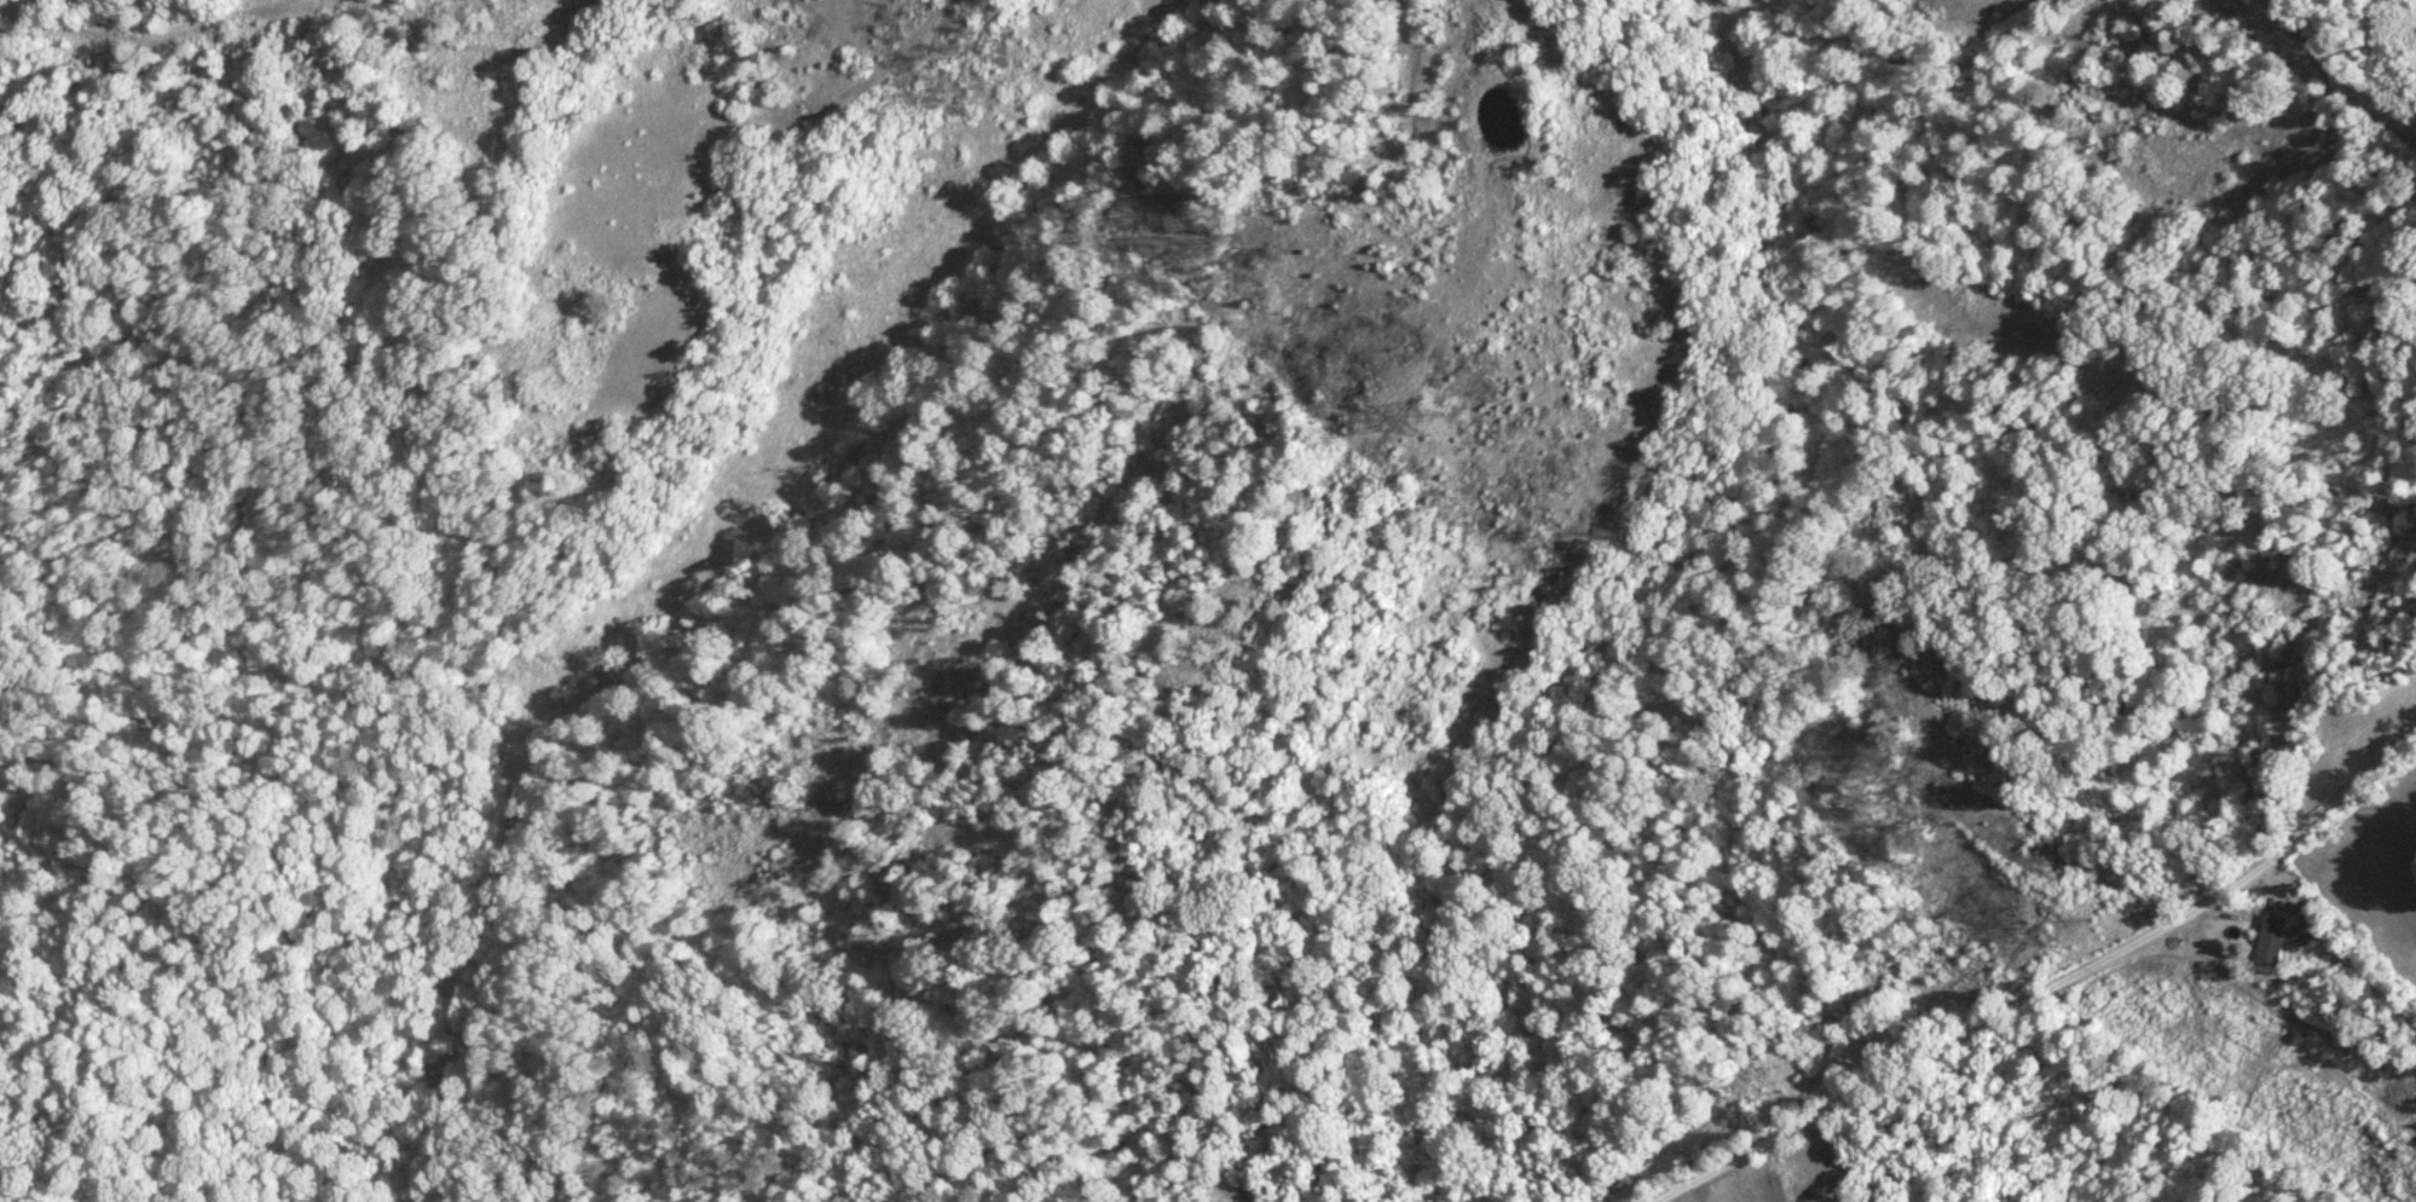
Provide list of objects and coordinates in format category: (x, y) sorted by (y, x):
road: (1948, 69)
road: (2339, 114)
power tower: (1414, 420)
road: (2272, 846)
power tower: (2068, 923)
road: (1882, 1075)

